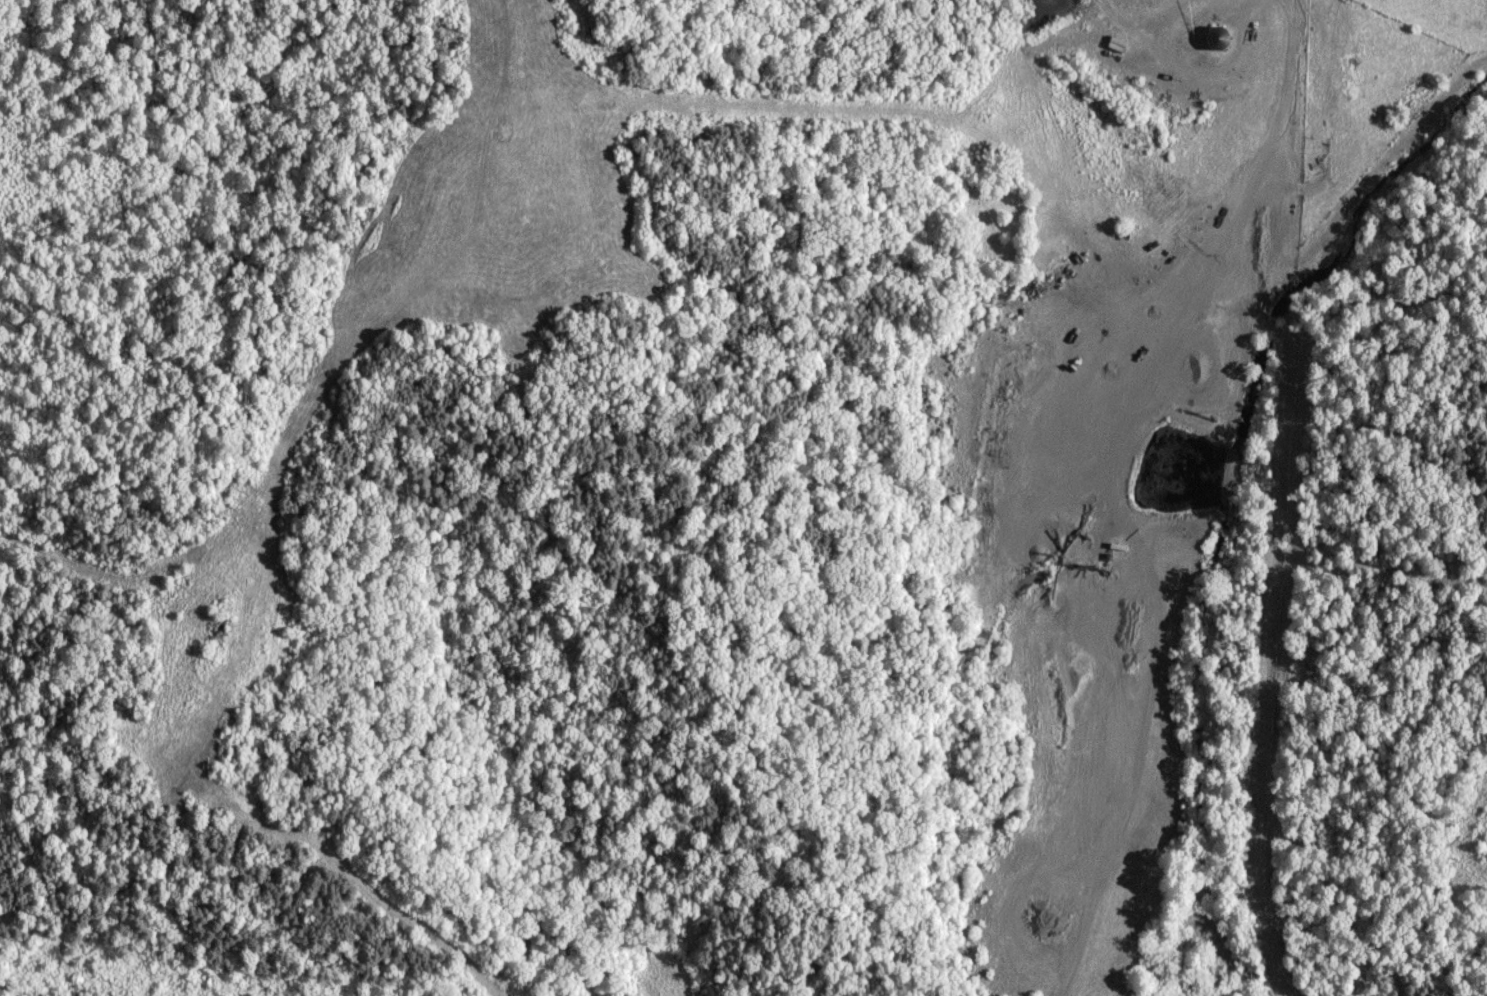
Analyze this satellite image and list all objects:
building: (1219, 39)
building: (1423, 93)
road: (1290, 119)
park: (990, 226)
road: (1305, 266)
road: (1196, 624)

